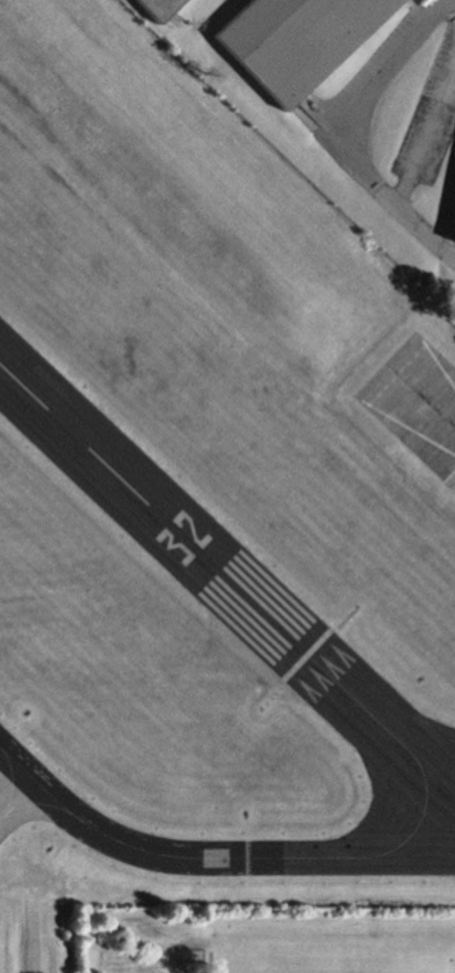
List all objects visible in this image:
building: (425, 3)
building: (157, 9)
road: (445, 12)
building: (297, 40)
road: (423, 131)
road: (330, 137)
building: (454, 240)
airport: (207, 511)
airport runway: (169, 526)
airport apron: (15, 809)
airport taxiway: (290, 857)
park: (272, 940)
road: (189, 959)

